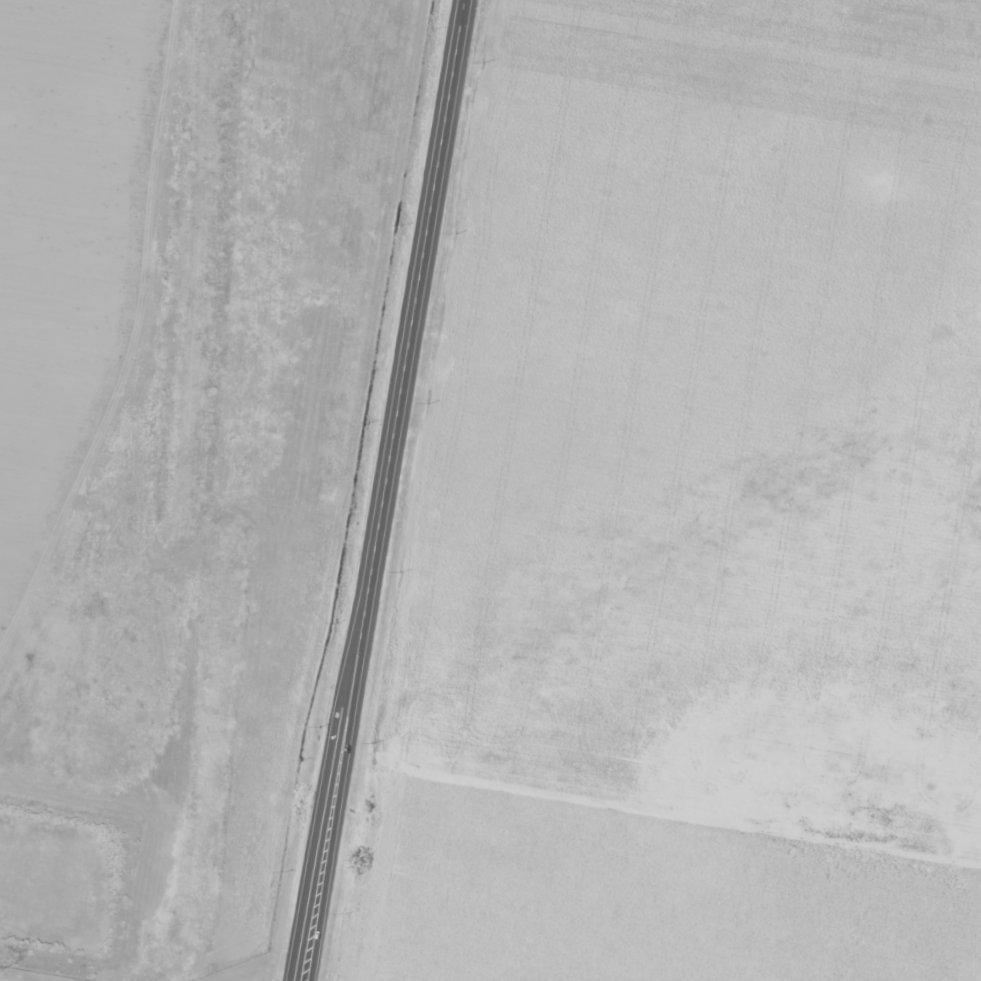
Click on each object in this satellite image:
road: (384, 490)

